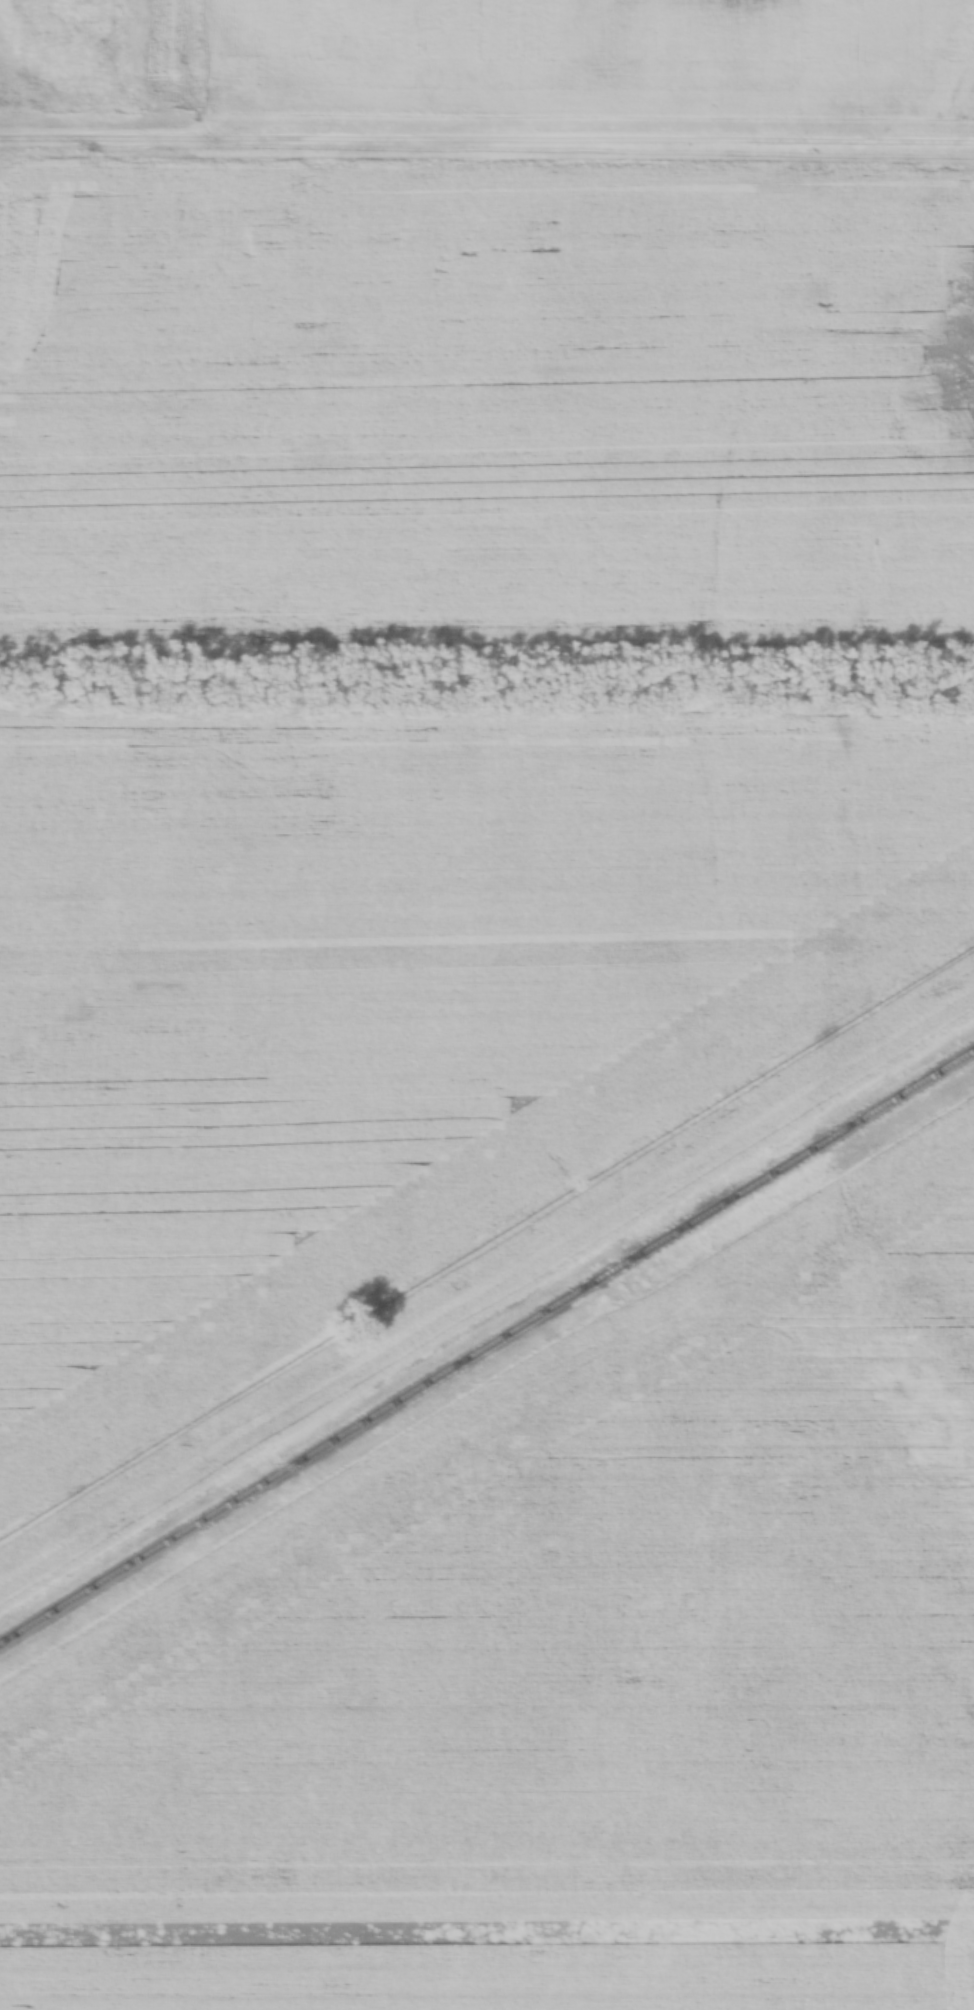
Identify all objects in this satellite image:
road: (486, 142)
railway: (487, 1350)

